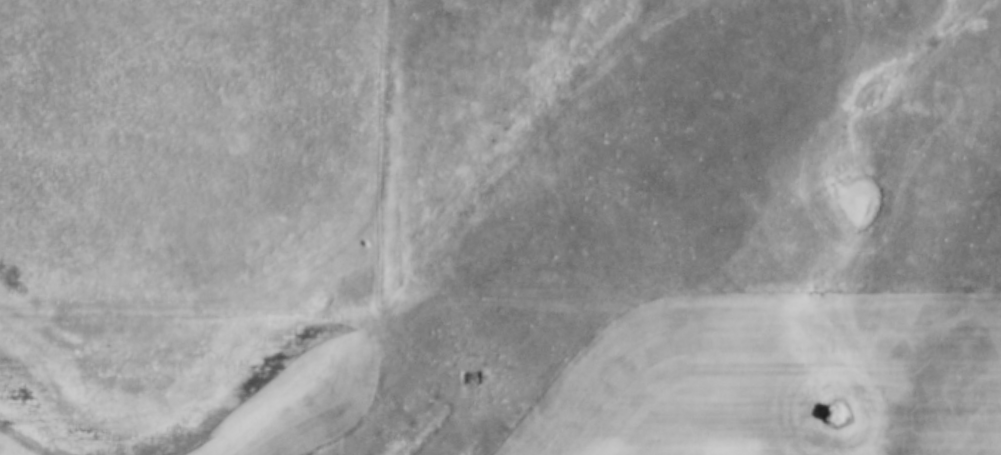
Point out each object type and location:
road: (298, 270)

